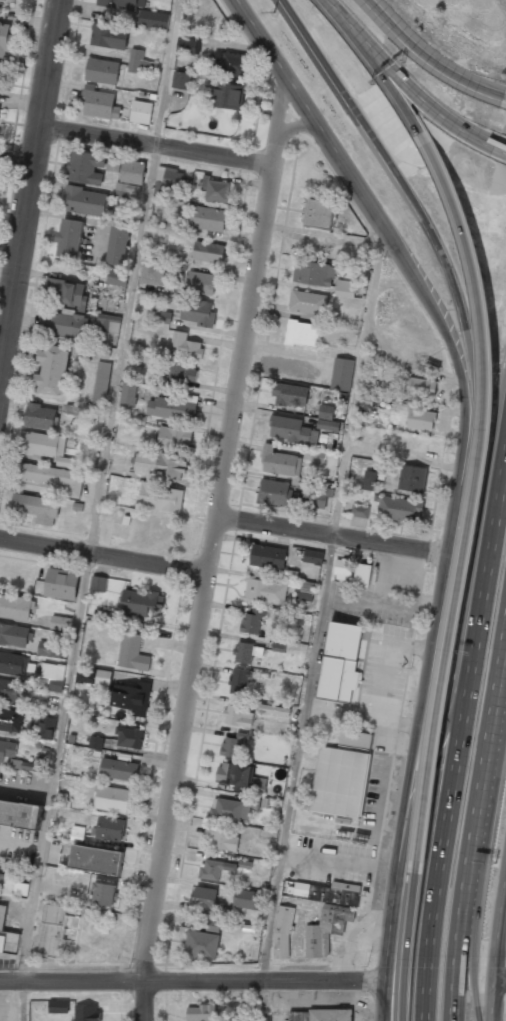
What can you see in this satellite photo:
building: (9, 0)
road: (329, 3)
building: (123, 4)
street lamp: (273, 13)
building: (153, 20)
building: (109, 36)
building: (5, 41)
building: (188, 45)
road: (431, 58)
road: (372, 61)
building: (0, 63)
building: (140, 63)
building: (232, 64)
building: (102, 71)
building: (181, 80)
road: (408, 86)
building: (225, 95)
building: (100, 103)
road: (280, 110)
building: (0, 111)
building: (141, 112)
road: (292, 127)
road: (154, 144)
road: (502, 149)
road: (16, 161)
building: (113, 164)
building: (85, 167)
building: (130, 179)
building: (172, 182)
road: (28, 183)
road: (352, 184)
building: (215, 190)
building: (85, 201)
road: (415, 205)
building: (320, 214)
building: (210, 219)
building: (69, 239)
building: (118, 246)
building: (208, 252)
building: (152, 273)
building: (314, 273)
building: (117, 277)
building: (201, 282)
building: (345, 288)
building: (66, 293)
building: (308, 302)
building: (198, 313)
building: (162, 318)
building: (108, 323)
building: (67, 325)
building: (302, 333)
building: (186, 346)
building: (99, 352)
building: (52, 370)
building: (373, 370)
building: (179, 374)
building: (342, 374)
building: (101, 385)
building: (421, 387)
building: (128, 394)
building: (290, 394)
building: (366, 400)
building: (170, 407)
building: (39, 416)
building: (327, 419)
building: (420, 419)
building: (292, 430)
building: (174, 439)
building: (42, 444)
building: (318, 458)
building: (280, 462)
building: (160, 465)
building: (52, 477)
building: (412, 478)
building: (369, 480)
road: (476, 488)
building: (274, 492)
building: (320, 496)
building: (161, 498)
building: (398, 507)
building: (37, 508)
road: (97, 510)
building: (359, 511)
road: (497, 530)
road: (331, 534)
road: (103, 556)
building: (313, 556)
building: (267, 557)
building: (342, 568)
building: (362, 575)
road: (205, 579)
building: (98, 583)
building: (61, 584)
building: (265, 591)
building: (305, 592)
building: (143, 603)
building: (16, 607)
building: (103, 615)
building: (252, 621)
building: (60, 623)
road: (318, 625)
building: (14, 635)
building: (49, 649)
building: (243, 652)
building: (132, 653)
building: (340, 662)
building: (13, 663)
building: (53, 671)
building: (93, 675)
building: (239, 681)
building: (56, 685)
building: (9, 690)
building: (132, 697)
road: (421, 697)
road: (448, 708)
building: (272, 710)
building: (238, 715)
building: (10, 720)
building: (45, 727)
building: (129, 737)
building: (355, 739)
building: (95, 742)
building: (233, 746)
building: (7, 749)
road: (485, 756)
building: (34, 765)
building: (119, 769)
building: (235, 775)
building: (339, 782)
building: (259, 783)
building: (112, 798)
road: (454, 804)
building: (230, 809)
building: (20, 813)
building: (109, 829)
building: (221, 839)
building: (96, 860)
building: (214, 869)
building: (1, 879)
building: (8, 887)
building: (328, 893)
building: (103, 894)
building: (249, 899)
building: (206, 900)
building: (213, 924)
building: (326, 929)
building: (53, 930)
building: (282, 931)
building: (6, 935)
building: (202, 945)
road: (406, 945)
road: (459, 960)
road: (473, 960)
road: (497, 969)
road: (501, 978)
road: (191, 979)
building: (58, 1006)
building: (87, 1013)
building: (200, 1013)
building: (320, 1017)

